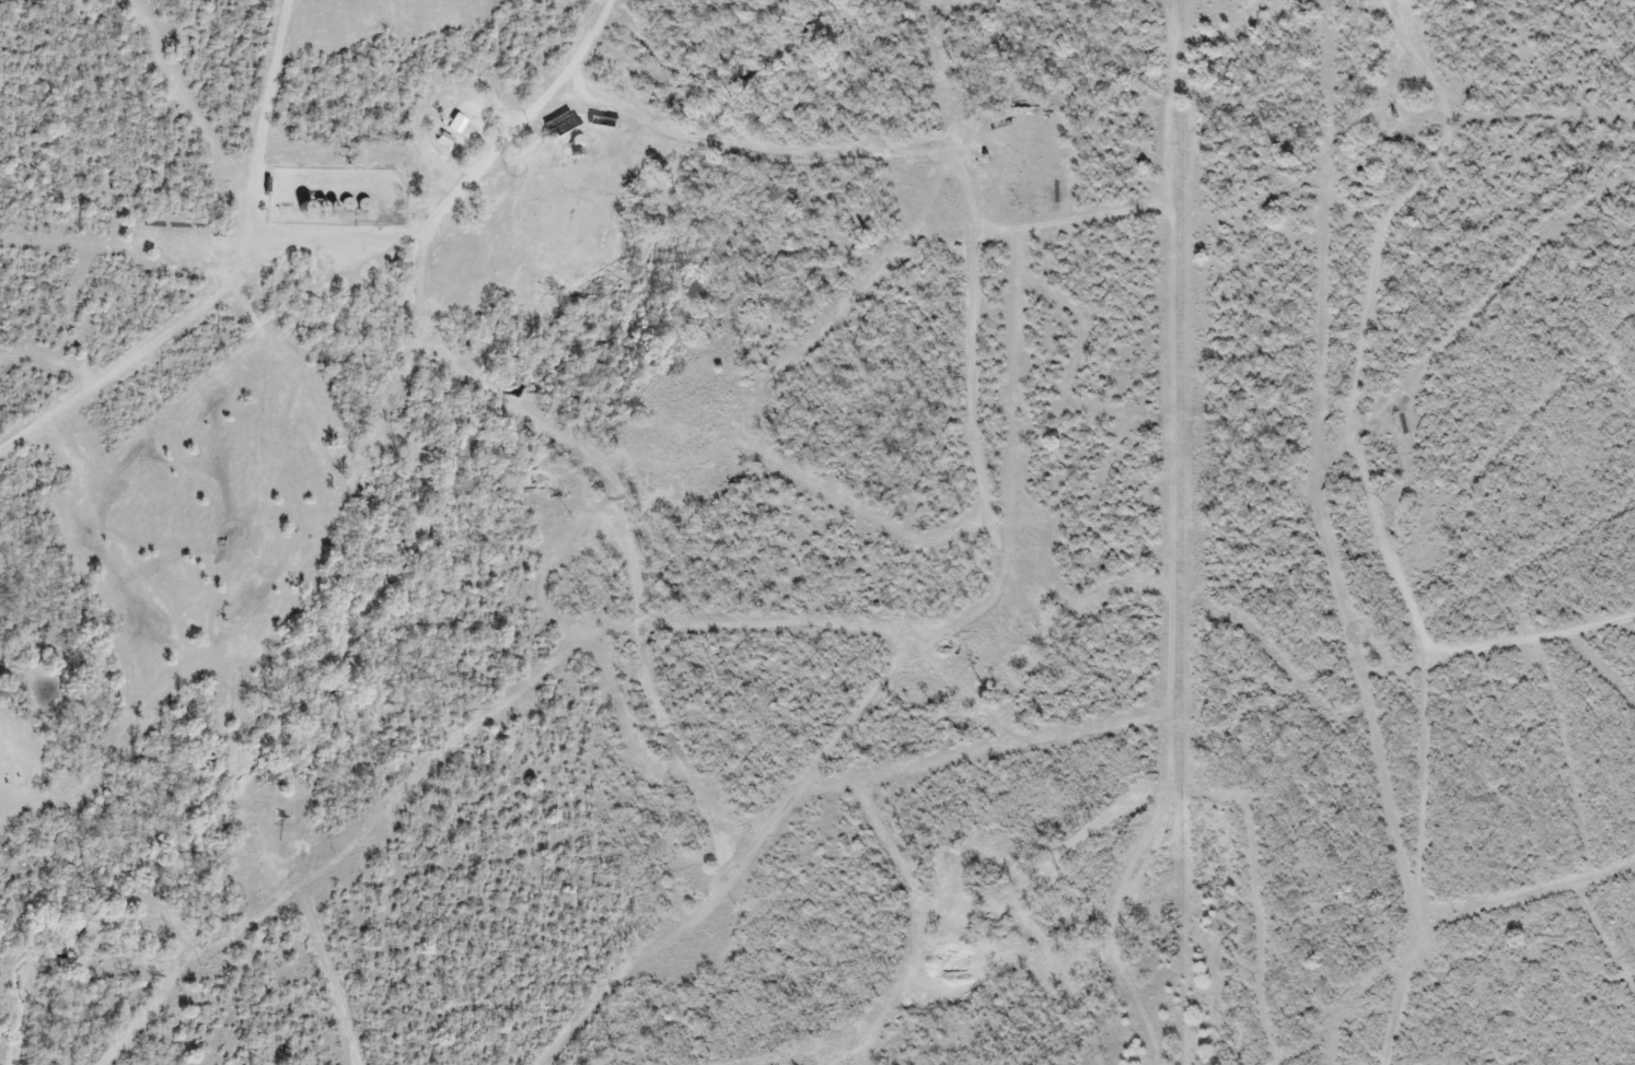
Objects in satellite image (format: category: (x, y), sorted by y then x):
road: (672, 137)
road: (424, 222)

